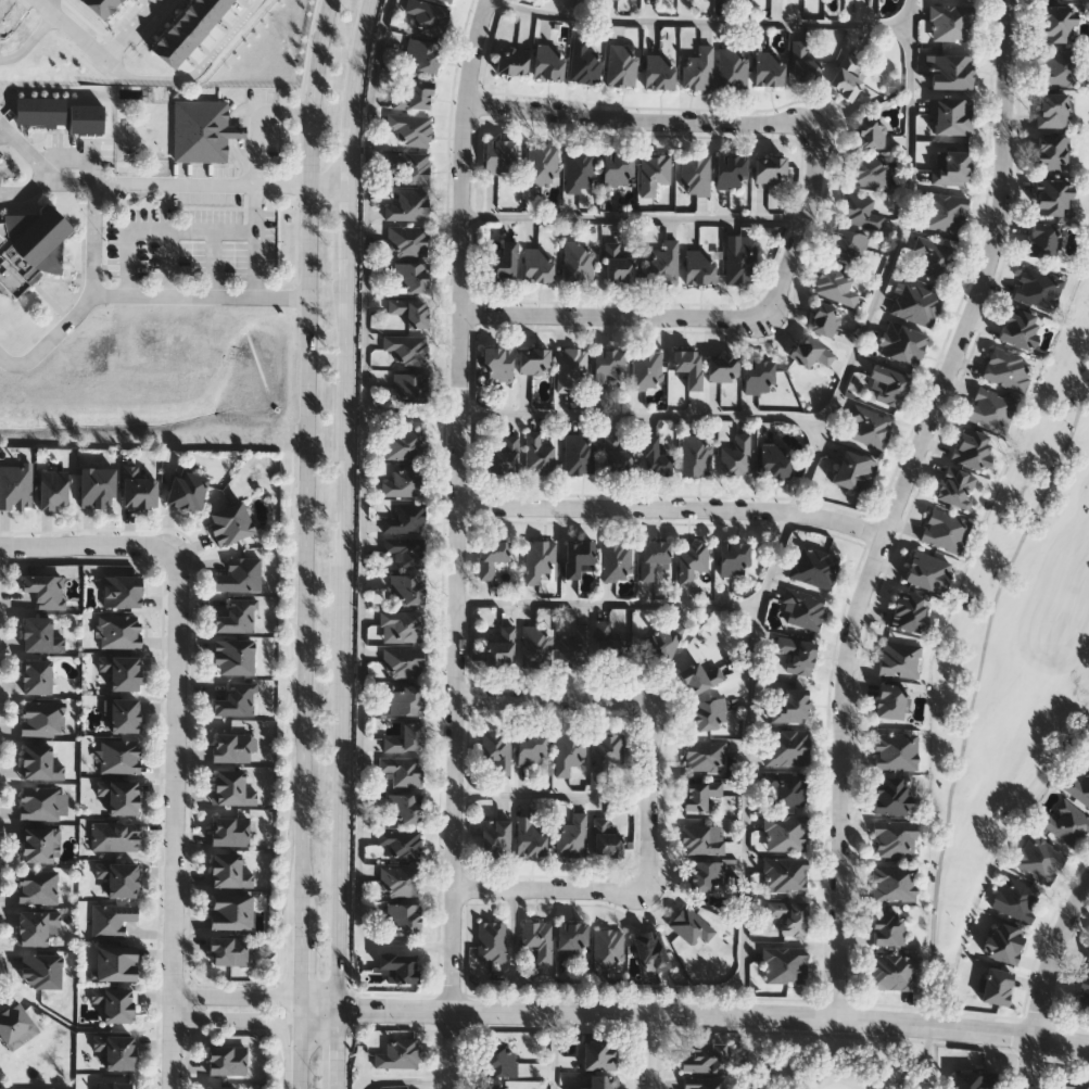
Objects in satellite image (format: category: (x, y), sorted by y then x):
building: (451, 0)
building: (727, 0)
building: (113, 2)
building: (227, 2)
road: (53, 4)
building: (213, 7)
building: (98, 8)
road: (906, 11)
building: (199, 15)
building: (429, 15)
building: (1058, 22)
building: (952, 23)
building: (187, 28)
road: (74, 29)
road: (134, 29)
road: (30, 40)
building: (176, 42)
building: (165, 55)
building: (512, 60)
building: (548, 60)
building: (584, 61)
building: (803, 62)
building: (622, 64)
building: (769, 66)
building: (1059, 66)
building: (698, 67)
building: (732, 67)
building: (950, 69)
building: (659, 71)
road: (907, 72)
road: (195, 73)
building: (847, 76)
building: (415, 94)
building: (1052, 107)
building: (41, 110)
road: (270, 113)
building: (951, 115)
building: (87, 118)
road: (735, 122)
building: (410, 128)
building: (203, 130)
building: (871, 131)
road: (232, 134)
road: (252, 149)
building: (1052, 152)
road: (76, 155)
building: (498, 155)
road: (240, 160)
building: (541, 162)
building: (410, 165)
building: (951, 166)
building: (618, 167)
building: (770, 168)
building: (581, 169)
building: (731, 170)
building: (871, 170)
building: (654, 172)
building: (695, 174)
road: (144, 183)
road: (331, 183)
road: (25, 192)
building: (1052, 195)
building: (408, 204)
building: (860, 211)
building: (945, 211)
road: (632, 216)
road: (156, 231)
building: (407, 239)
building: (1042, 239)
road: (252, 241)
building: (849, 244)
building: (30, 246)
building: (740, 257)
building: (934, 258)
building: (579, 259)
building: (503, 261)
building: (619, 261)
building: (663, 261)
road: (168, 264)
building: (539, 264)
road: (211, 265)
building: (700, 266)
building: (410, 276)
building: (836, 284)
building: (1037, 288)
road: (145, 295)
building: (915, 303)
building: (410, 311)
road: (615, 317)
building: (825, 318)
building: (1020, 327)
road: (48, 338)
building: (901, 342)
building: (407, 347)
building: (811, 351)
building: (534, 359)
building: (497, 362)
building: (609, 364)
building: (688, 365)
building: (571, 367)
building: (723, 367)
building: (647, 368)
building: (1006, 368)
building: (759, 376)
building: (889, 384)
building: (410, 385)
building: (991, 408)
road: (644, 416)
building: (870, 425)
building: (405, 443)
building: (973, 447)
building: (539, 453)
building: (579, 453)
building: (618, 453)
building: (696, 454)
building: (504, 455)
building: (736, 455)
building: (655, 456)
building: (774, 459)
building: (853, 470)
building: (405, 481)
building: (16, 486)
building: (955, 486)
building: (98, 487)
building: (54, 490)
building: (188, 490)
building: (141, 492)
road: (897, 504)
road: (672, 508)
road: (364, 516)
building: (405, 518)
building: (231, 523)
building: (945, 530)
road: (456, 542)
road: (306, 543)
road: (344, 543)
road: (88, 548)
building: (405, 549)
building: (492, 556)
building: (579, 556)
building: (654, 556)
building: (734, 557)
building: (540, 558)
road: (775, 558)
building: (617, 559)
building: (692, 559)
building: (814, 567)
building: (928, 571)
building: (240, 575)
building: (407, 588)
building: (46, 591)
building: (123, 592)
road: (607, 603)
building: (802, 609)
building: (910, 611)
building: (237, 617)
building: (405, 624)
building: (121, 632)
building: (39, 635)
building: (663, 642)
building: (607, 643)
building: (501, 645)
building: (536, 645)
building: (573, 646)
building: (797, 654)
building: (235, 657)
building: (900, 658)
building: (403, 661)
building: (123, 671)
building: (699, 676)
building: (38, 678)
road: (549, 698)
building: (237, 699)
building: (407, 699)
building: (889, 701)
building: (789, 704)
park: (990, 709)
building: (709, 713)
building: (126, 716)
building: (43, 718)
building: (406, 737)
building: (232, 747)
building: (786, 747)
building: (496, 748)
building: (532, 748)
building: (568, 750)
building: (607, 750)
building: (895, 750)
building: (705, 755)
building: (122, 756)
building: (40, 762)
building: (402, 768)
building: (788, 786)
building: (1078, 786)
building: (231, 788)
building: (698, 793)
road: (553, 794)
road: (651, 795)
building: (891, 795)
building: (121, 796)
building: (45, 802)
building: (404, 807)
road: (175, 819)
building: (1065, 821)
building: (230, 831)
building: (785, 833)
building: (495, 835)
building: (530, 835)
building: (571, 835)
building: (607, 836)
building: (116, 837)
building: (894, 837)
building: (700, 839)
building: (402, 841)
building: (41, 845)
building: (1039, 857)
building: (229, 871)
building: (786, 874)
building: (707, 875)
building: (119, 877)
building: (400, 879)
building: (894, 882)
building: (39, 886)
road: (548, 889)
building: (1016, 898)
building: (232, 912)
building: (789, 915)
building: (403, 917)
building: (113, 920)
building: (691, 924)
building: (888, 927)
building: (38, 928)
building: (572, 937)
building: (539, 938)
building: (491, 939)
building: (1003, 941)
building: (608, 947)
road: (745, 949)
building: (650, 950)
building: (228, 951)
building: (1088, 959)
building: (117, 963)
building: (784, 964)
building: (397, 967)
building: (41, 971)
building: (895, 971)
road: (1047, 982)
building: (997, 985)
building: (1082, 995)
road: (238, 1000)
building: (116, 1003)
road: (695, 1013)
road: (253, 1020)
road: (555, 1050)
road: (650, 1051)
building: (119, 1052)
building: (398, 1053)
building: (600, 1055)
building: (702, 1059)
building: (228, 1061)
building: (508, 1063)
building: (968, 1080)
building: (602, 1082)
building: (702, 1082)
building: (1075, 1085)
building: (116, 1086)
building: (495, 1087)
building: (224, 1088)

